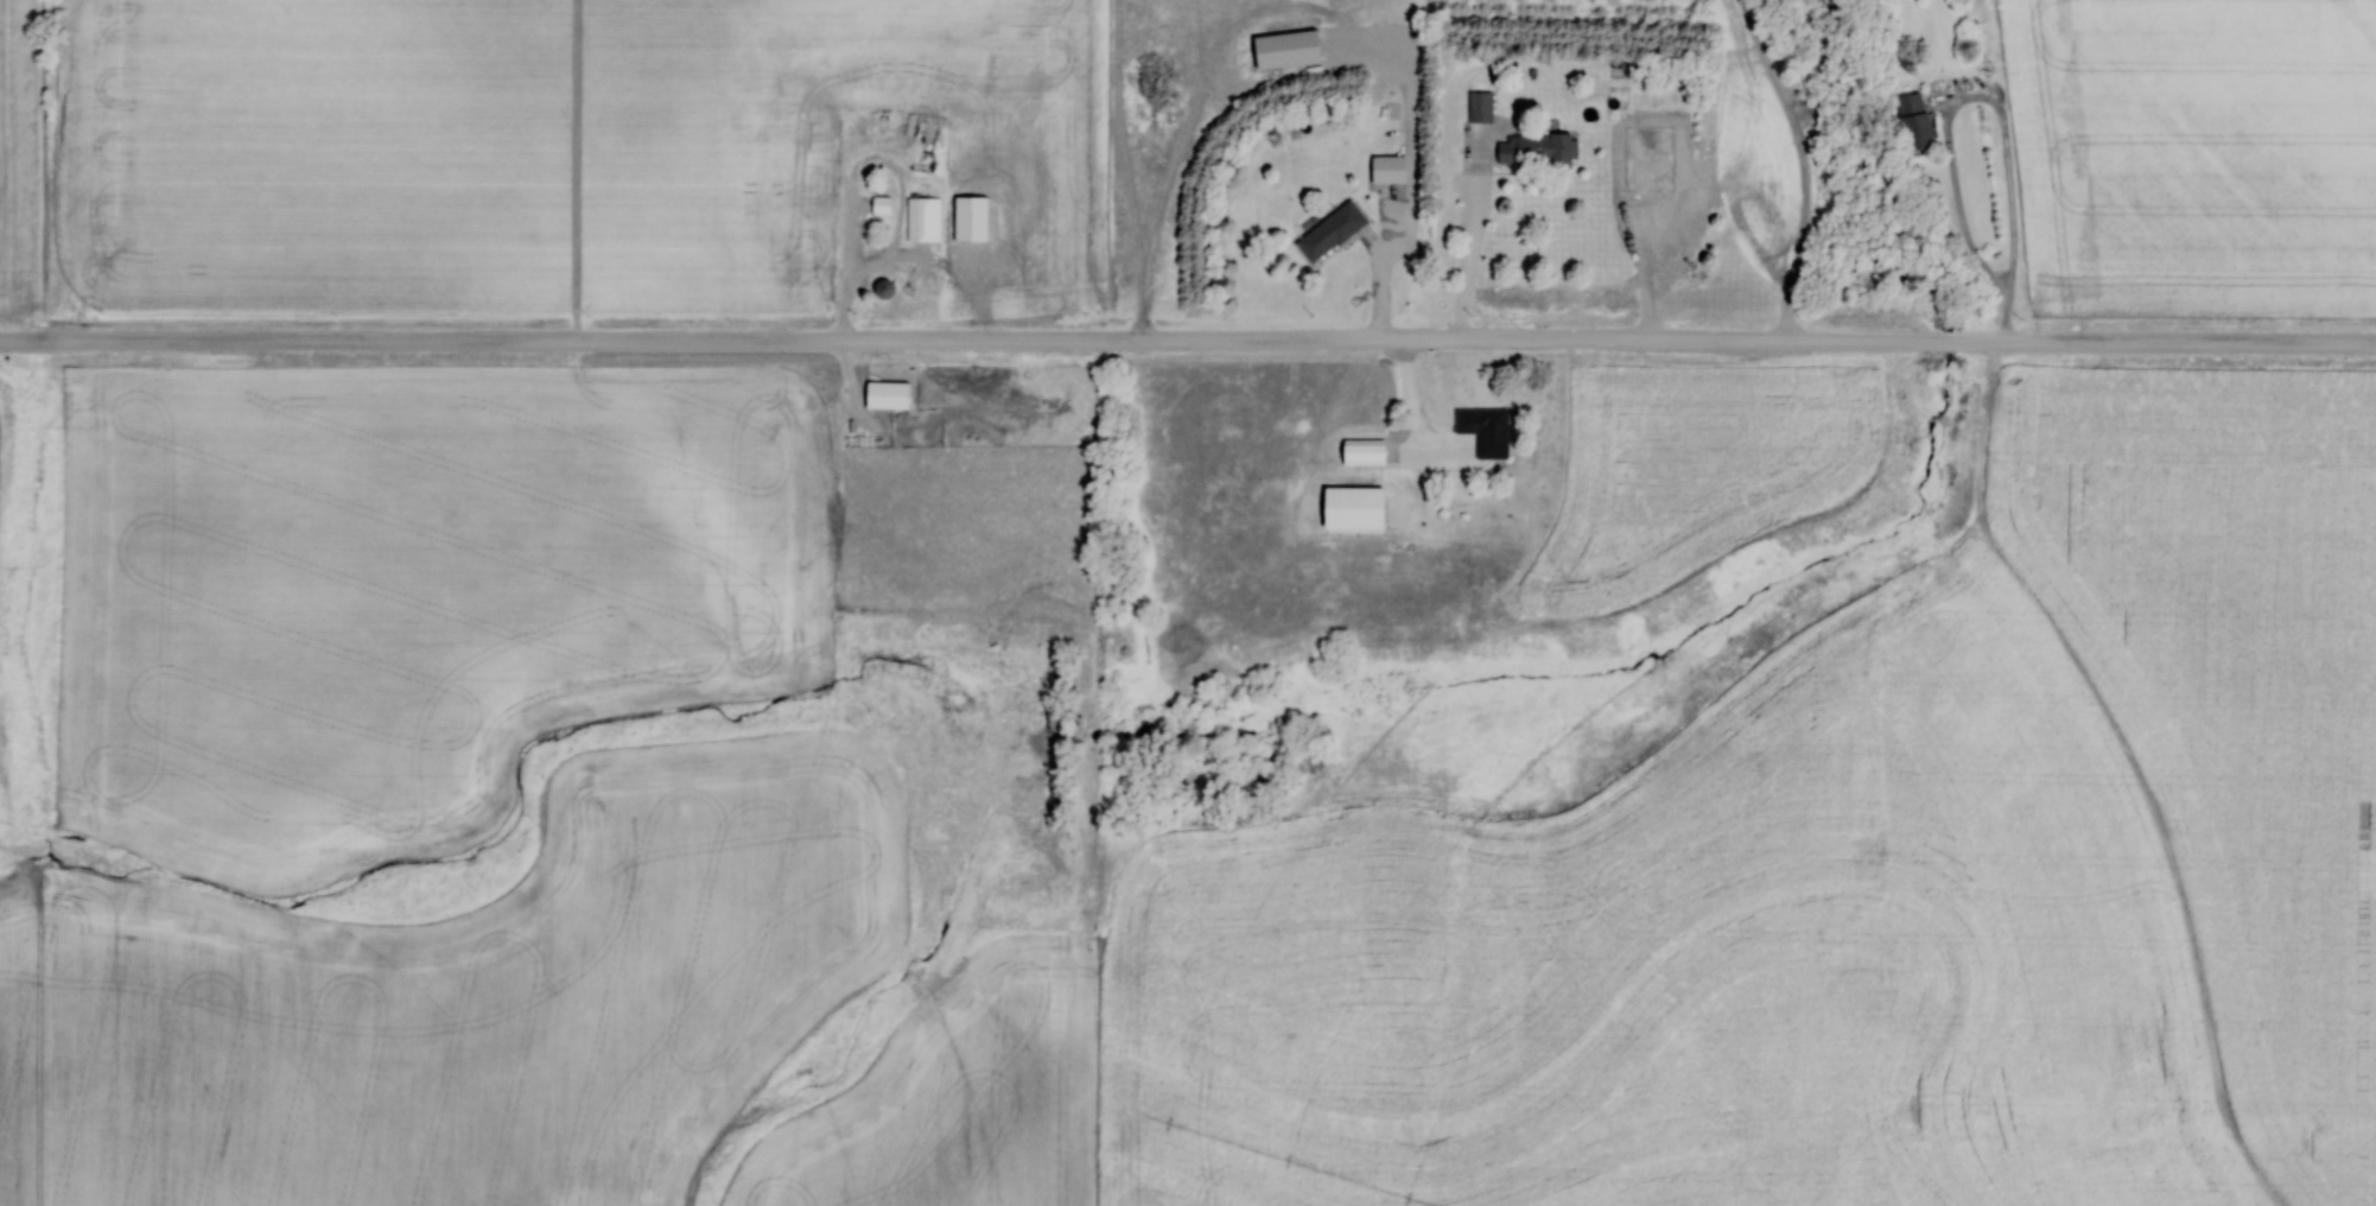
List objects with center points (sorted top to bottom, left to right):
building: (871, 66)
building: (1482, 106)
building: (953, 118)
building: (1918, 122)
building: (1658, 141)
building: (1538, 148)
building: (1393, 167)
road: (2012, 186)
building: (884, 204)
building: (811, 208)
building: (927, 218)
building: (1334, 230)
road: (1472, 246)
road: (1641, 260)
road: (853, 262)
road: (1384, 271)
road: (1188, 343)
building: (890, 394)
road: (1421, 410)
building: (1488, 430)
building: (1368, 451)

